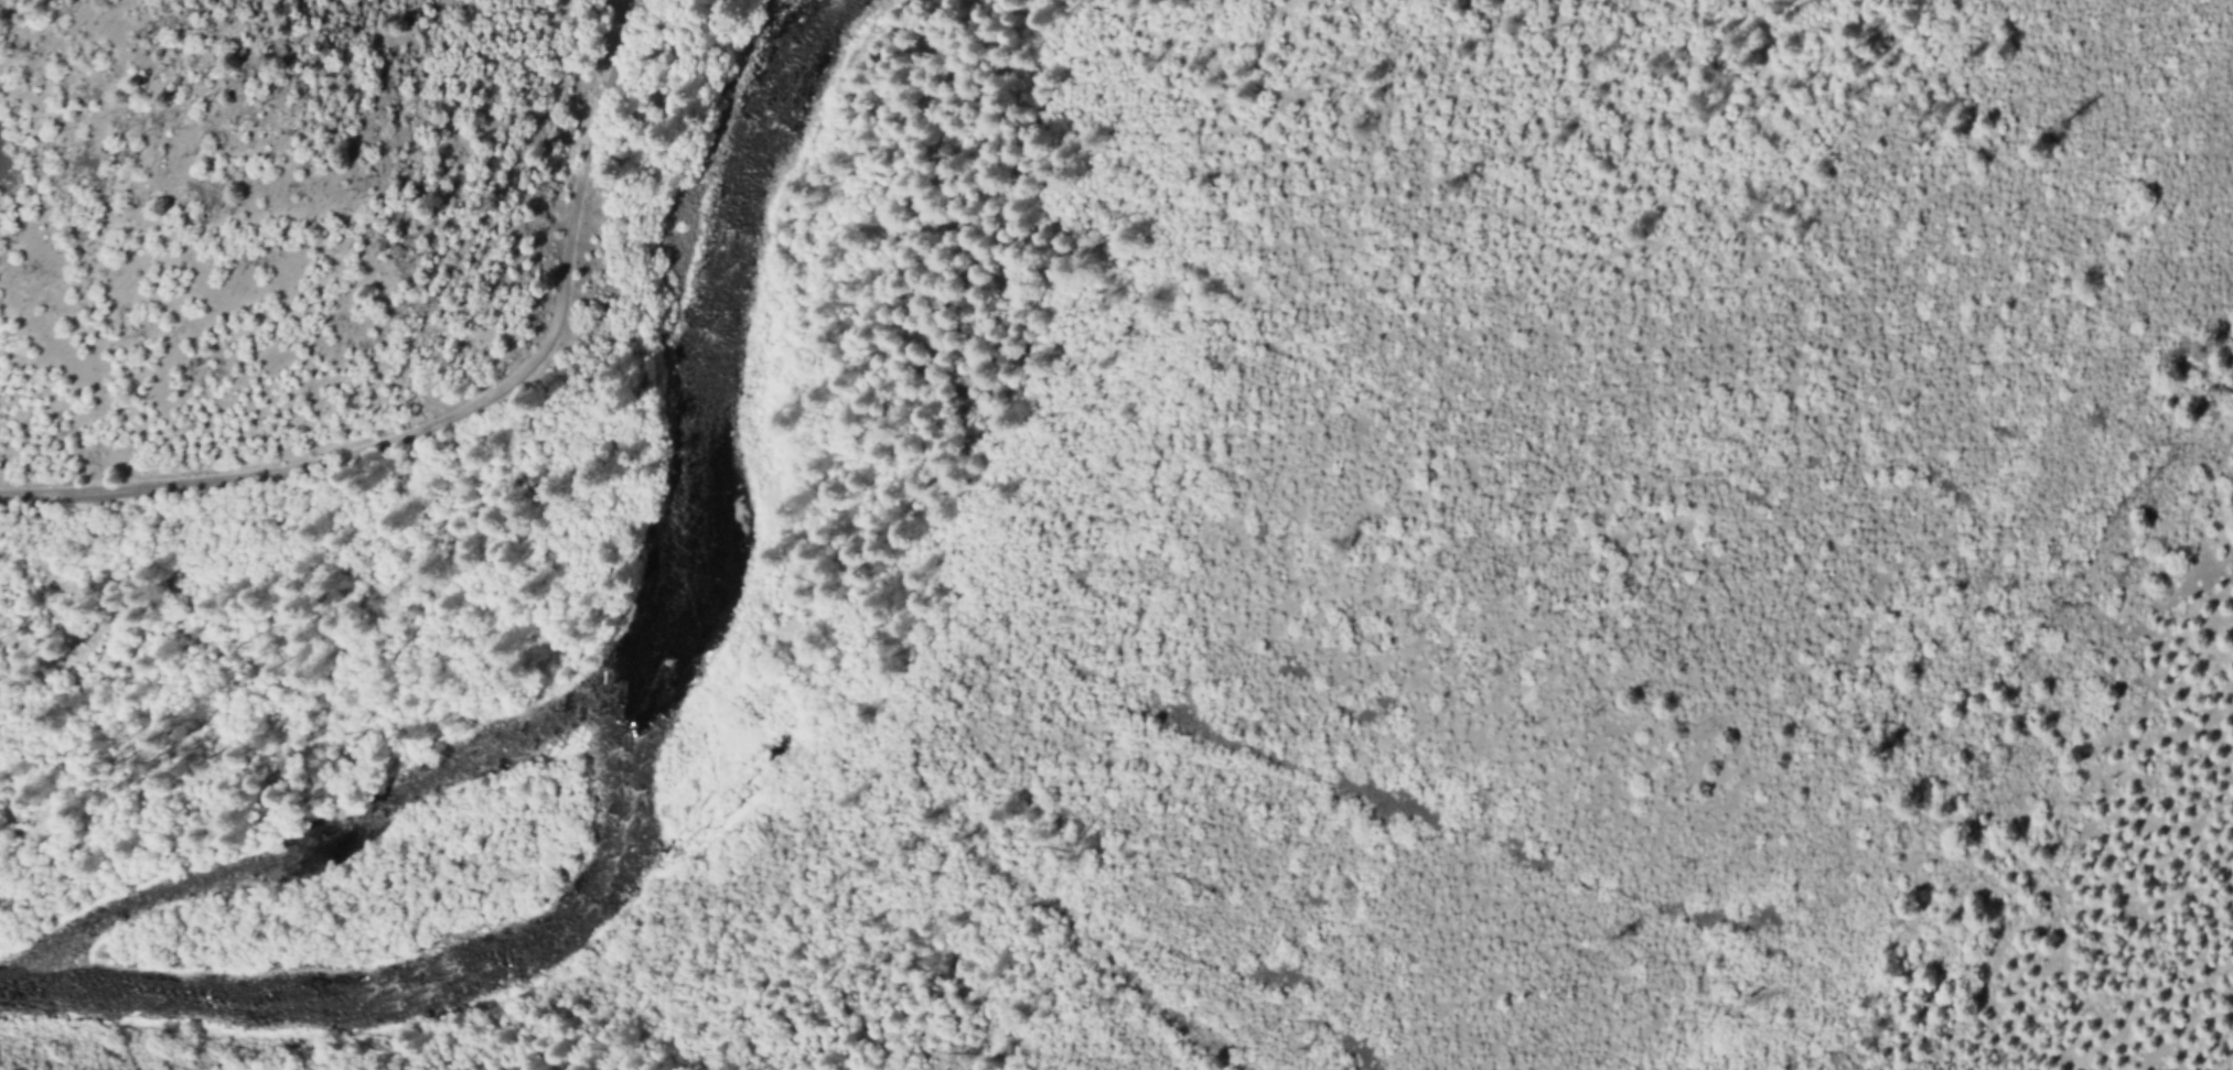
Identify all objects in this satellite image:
road: (457, 411)
river: (635, 745)

